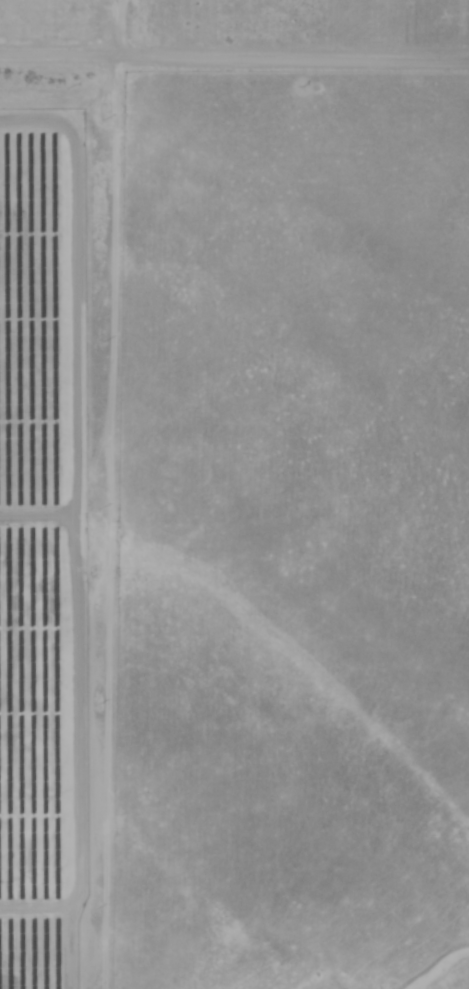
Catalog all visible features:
road: (234, 55)
crop: (90, 427)
solar farm: (41, 555)

